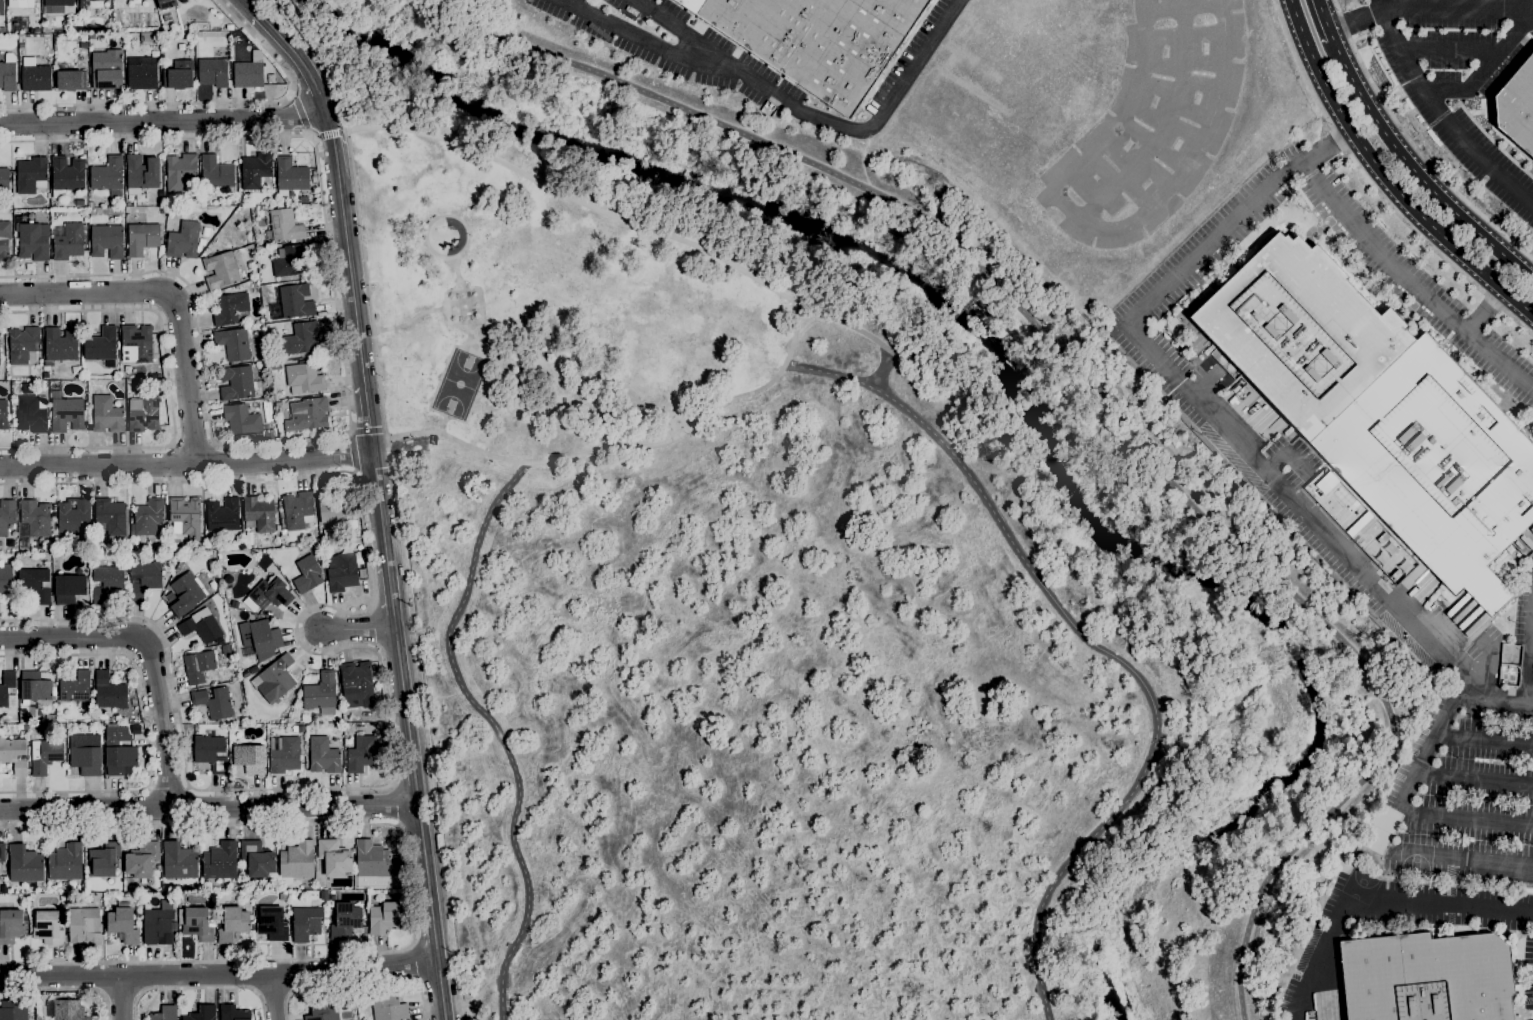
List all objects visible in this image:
building: (137, 1)
road: (1421, 3)
building: (90, 4)
building: (166, 4)
building: (55, 5)
road: (1379, 5)
road: (1429, 6)
building: (1, 7)
road: (258, 13)
road: (1325, 19)
building: (2, 30)
building: (816, 39)
road: (645, 43)
road: (1454, 50)
road: (303, 66)
building: (106, 69)
road: (1486, 70)
building: (7, 72)
building: (213, 72)
building: (142, 74)
building: (247, 74)
building: (34, 75)
building: (179, 75)
building: (71, 80)
road: (292, 90)
road: (201, 102)
building: (1517, 106)
road: (305, 114)
road: (163, 117)
road: (816, 118)
road: (1444, 119)
road: (332, 132)
road: (1414, 144)
building: (255, 170)
building: (179, 171)
building: (215, 172)
road: (1418, 172)
building: (14, 173)
building: (141, 173)
building: (31, 174)
building: (66, 174)
building: (108, 176)
building: (290, 176)
road: (1386, 176)
building: (4, 178)
road: (1375, 188)
building: (299, 202)
building: (263, 207)
road: (453, 217)
building: (284, 225)
road: (644, 226)
building: (142, 237)
building: (4, 239)
building: (68, 240)
building: (183, 240)
building: (106, 241)
building: (31, 242)
road: (346, 246)
building: (289, 260)
building: (220, 270)
road: (991, 276)
road: (1412, 281)
road: (454, 288)
road: (367, 289)
road: (174, 292)
building: (295, 300)
building: (230, 309)
road: (801, 309)
road: (1485, 312)
road: (955, 313)
road: (792, 333)
building: (300, 338)
building: (22, 343)
building: (136, 343)
building: (60, 344)
building: (233, 344)
building: (100, 345)
road: (343, 369)
road: (830, 372)
building: (303, 378)
building: (238, 383)
park: (457, 383)
road: (168, 384)
road: (1104, 399)
road: (432, 410)
building: (1379, 410)
building: (66, 413)
building: (143, 413)
building: (3, 414)
building: (30, 414)
building: (307, 414)
road: (367, 414)
building: (106, 415)
building: (243, 420)
river: (1030, 421)
road: (442, 423)
road: (366, 431)
road: (192, 442)
road: (352, 451)
road: (593, 453)
road: (186, 465)
building: (333, 506)
road: (379, 507)
building: (297, 509)
building: (258, 514)
building: (6, 515)
building: (73, 515)
building: (110, 515)
building: (222, 515)
building: (148, 516)
building: (185, 516)
building: (34, 518)
road: (1311, 521)
building: (1531, 529)
building: (1526, 541)
building: (1517, 544)
building: (348, 547)
building: (173, 556)
building: (341, 571)
building: (307, 574)
building: (144, 578)
building: (5, 579)
building: (106, 581)
building: (35, 584)
building: (68, 588)
building: (185, 594)
building: (267, 594)
road: (390, 597)
park: (736, 610)
building: (201, 628)
road: (355, 629)
building: (258, 637)
road: (369, 648)
road: (148, 650)
road: (1119, 661)
road: (398, 664)
building: (198, 666)
road: (1530, 672)
building: (275, 678)
building: (356, 684)
building: (34, 686)
building: (75, 687)
building: (3, 692)
building: (321, 693)
building: (108, 694)
road: (1496, 696)
building: (213, 702)
building: (135, 729)
road: (146, 730)
building: (348, 730)
road: (495, 730)
building: (116, 733)
road: (1485, 737)
building: (210, 752)
road: (409, 752)
building: (284, 753)
building: (360, 753)
building: (44, 755)
building: (323, 755)
building: (14, 756)
building: (249, 758)
building: (119, 759)
building: (85, 760)
road: (1474, 778)
road: (167, 787)
road: (393, 804)
road: (208, 808)
road: (1464, 817)
road: (422, 848)
building: (2, 852)
building: (334, 857)
building: (257, 858)
building: (105, 859)
building: (141, 859)
building: (371, 859)
building: (178, 861)
building: (219, 861)
building: (296, 861)
building: (65, 862)
building: (25, 864)
building: (396, 882)
road: (408, 892)
building: (323, 894)
building: (283, 896)
building: (224, 898)
road: (1374, 902)
building: (384, 917)
building: (345, 921)
building: (197, 922)
building: (122, 923)
building: (271, 923)
building: (305, 923)
building: (82, 924)
building: (232, 924)
road: (432, 925)
building: (10, 926)
building: (157, 926)
building: (47, 928)
building: (236, 936)
road: (414, 960)
road: (218, 974)
building: (1426, 978)
road: (358, 981)
road: (198, 987)
road: (65, 988)
road: (440, 989)
road: (121, 996)
road: (121, 997)
road: (272, 997)
building: (388, 1006)
building: (65, 1009)
building: (13, 1010)
building: (323, 1010)
building: (233, 1012)
building: (165, 1013)
building: (202, 1013)

